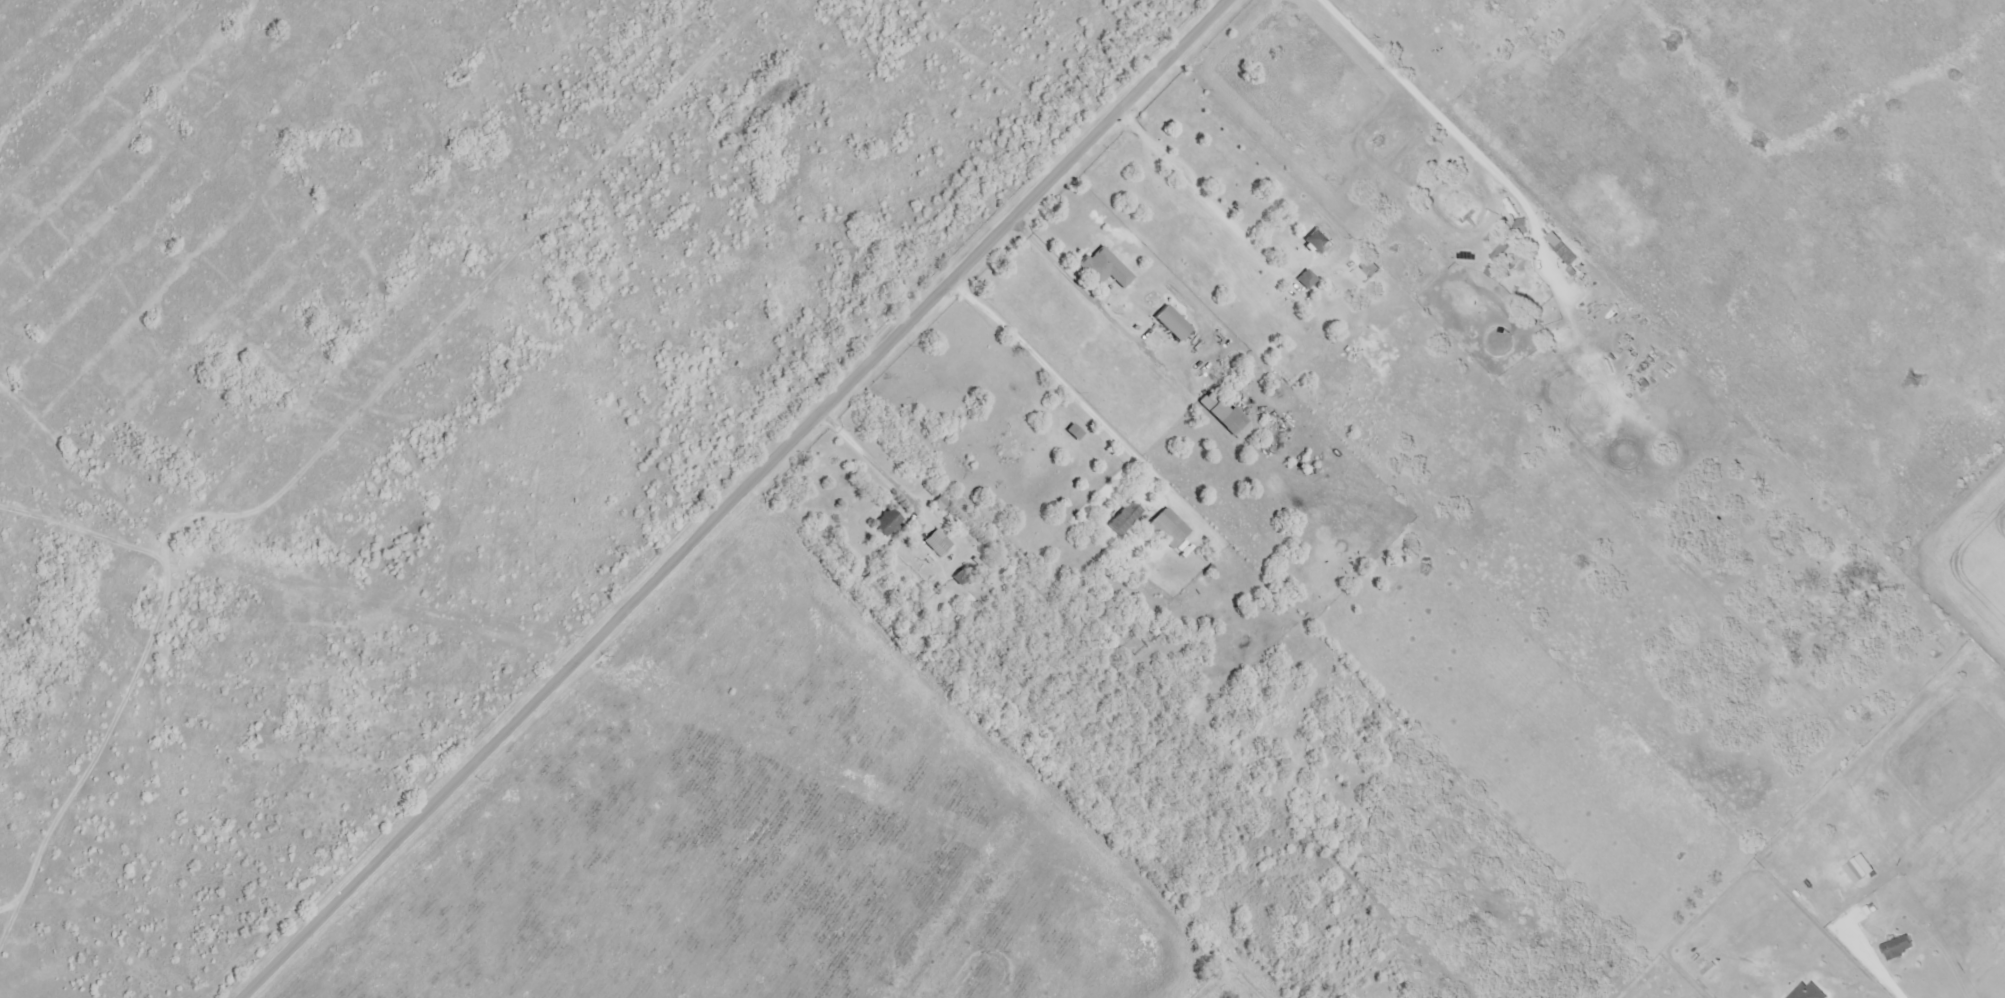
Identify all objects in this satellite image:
building: (1555, 239)
building: (1318, 241)
building: (1512, 248)
building: (1366, 266)
building: (1105, 268)
building: (1307, 279)
building: (1566, 299)
building: (1173, 323)
road: (1062, 383)
building: (1225, 413)
road: (728, 499)
building: (1125, 519)
building: (888, 522)
building: (1170, 528)
building: (939, 543)
building: (1899, 949)

